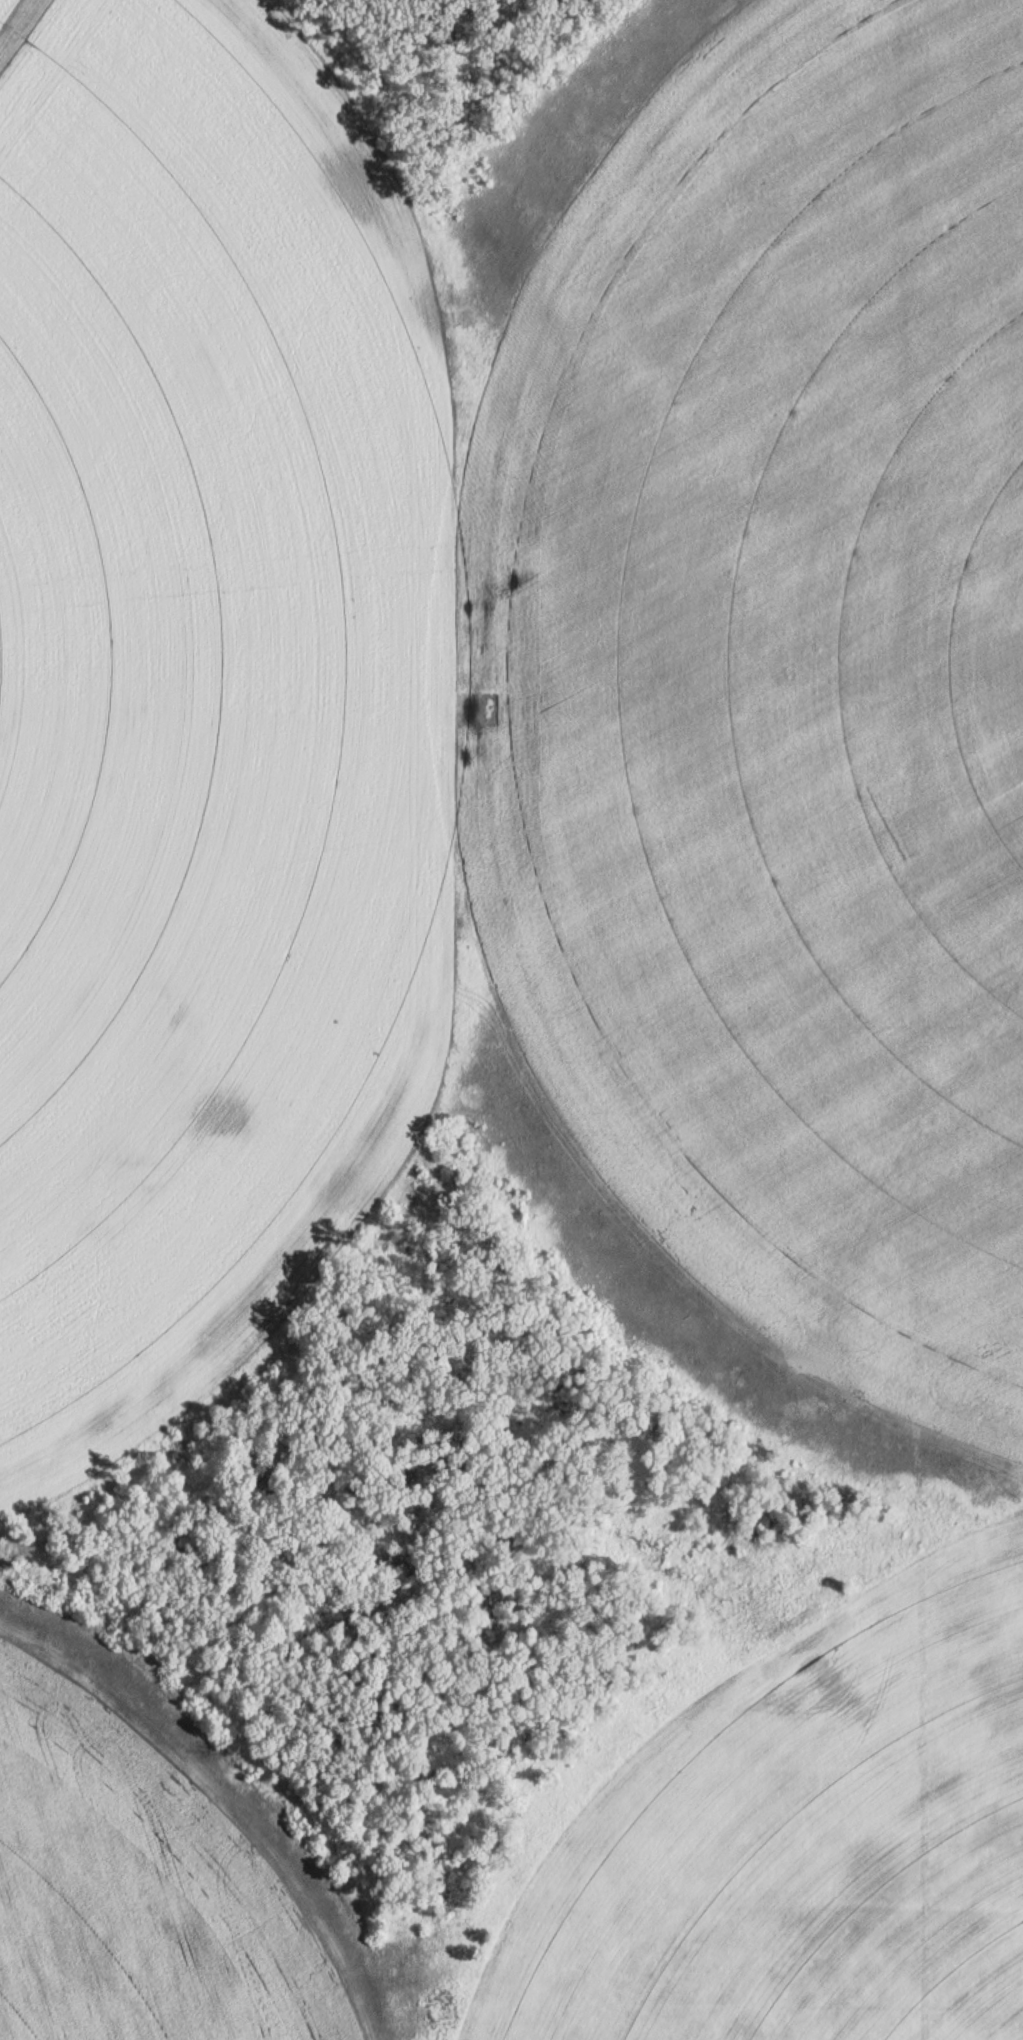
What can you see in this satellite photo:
wastewater plant: (511, 1020)

